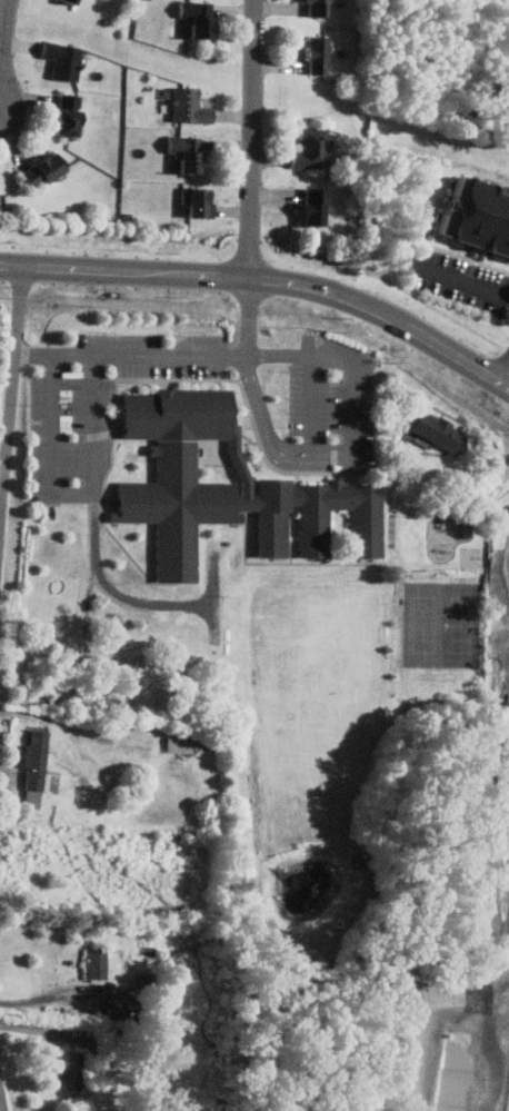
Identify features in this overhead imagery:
building: (76, 2)
building: (322, 9)
building: (204, 19)
road: (4, 54)
building: (322, 57)
building: (67, 59)
building: (194, 106)
building: (73, 113)
road: (255, 138)
building: (316, 148)
building: (192, 151)
building: (49, 170)
building: (206, 201)
building: (319, 206)
building: (480, 211)
road: (187, 274)
road: (467, 279)
road: (250, 316)
road: (440, 343)
road: (132, 353)
road: (347, 363)
road: (505, 371)
road: (11, 401)
building: (438, 430)
road: (273, 439)
road: (2, 474)
road: (73, 492)
building: (326, 516)
road: (121, 592)
park: (443, 625)
building: (180, 741)
building: (34, 767)
building: (96, 962)
road: (43, 994)
building: (70, 1071)
road: (6, 1087)

